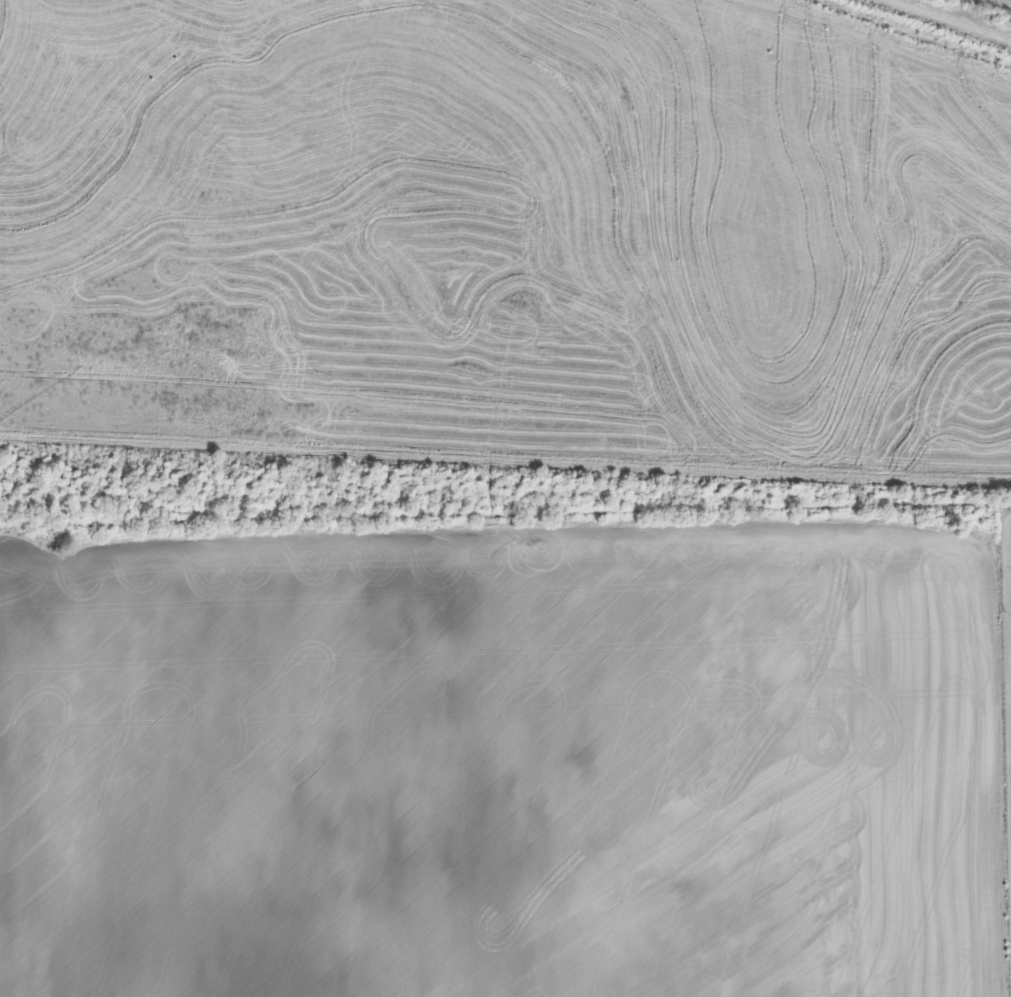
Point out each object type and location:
road: (505, 505)

